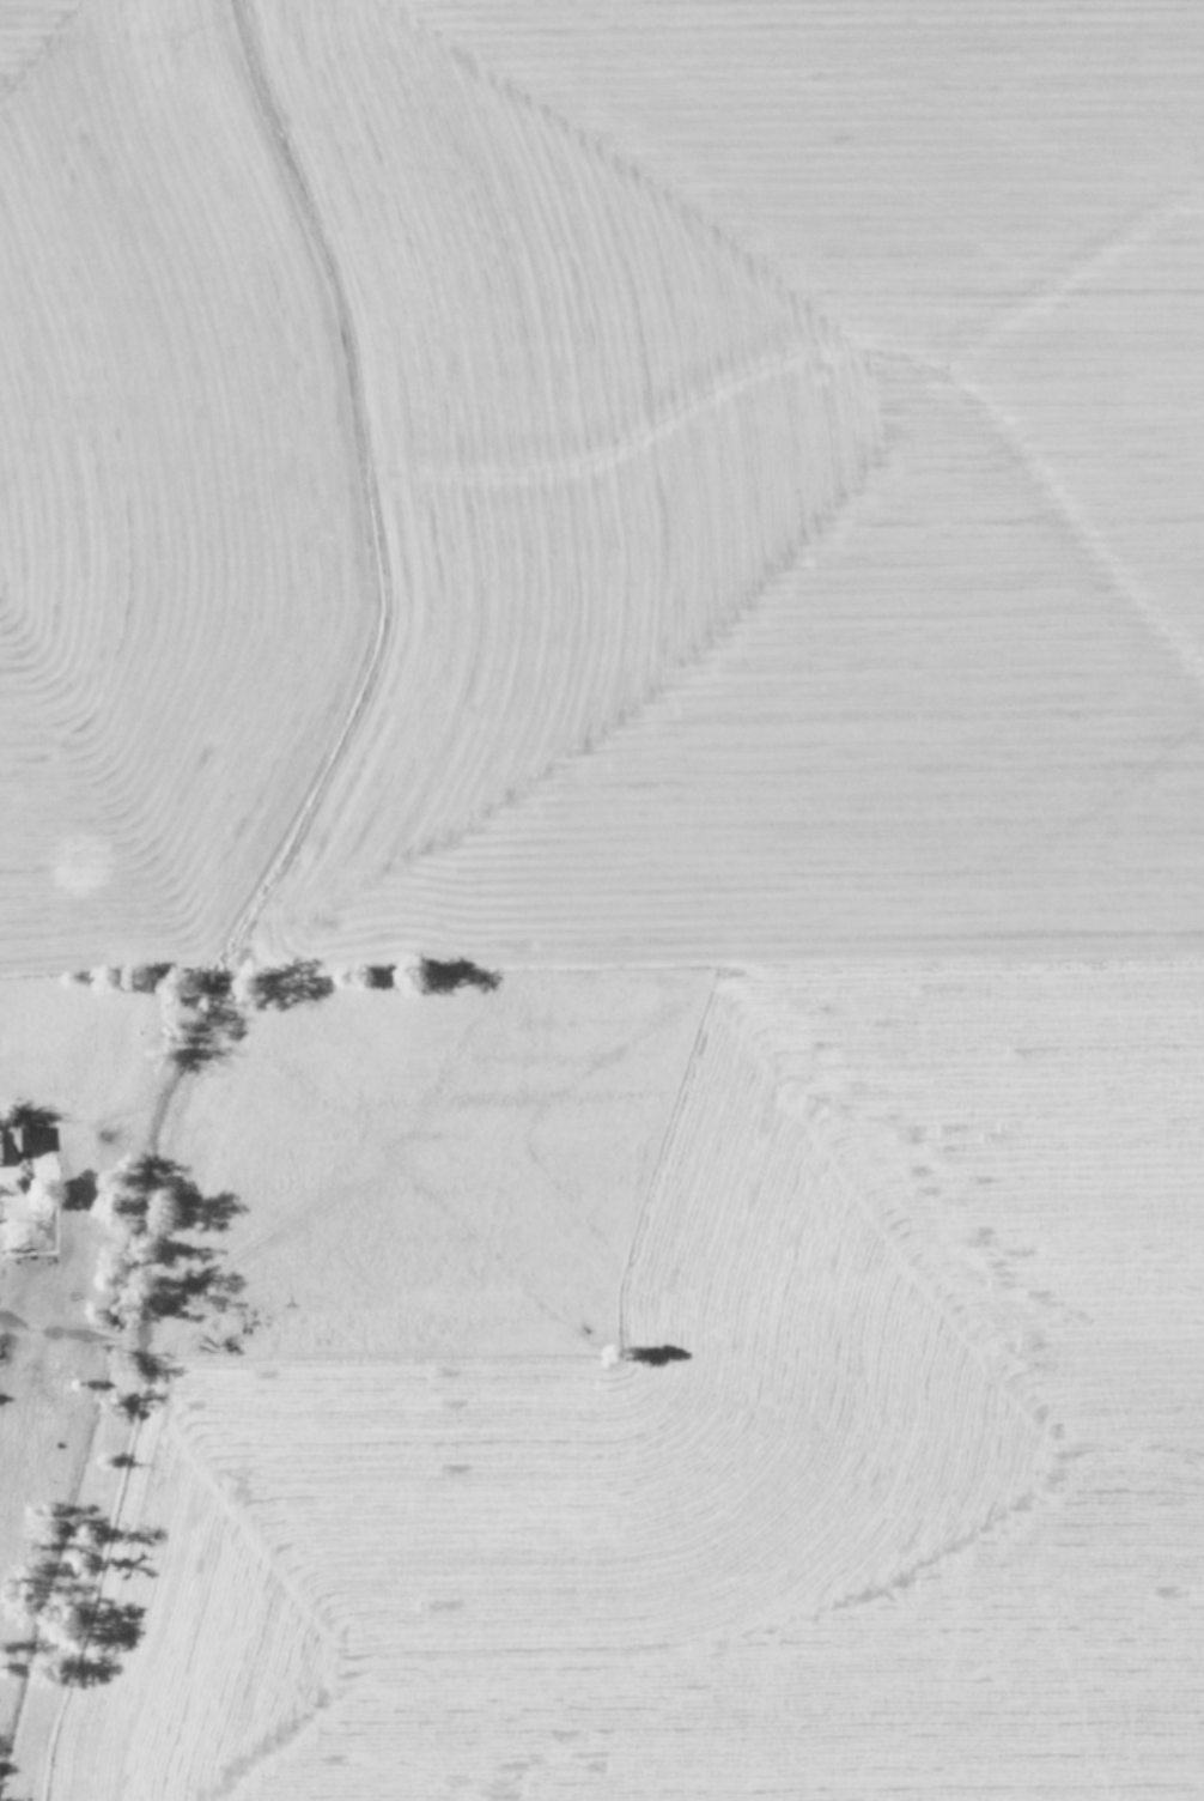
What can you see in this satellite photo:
crop: (602, 901)
road: (16, 1242)

